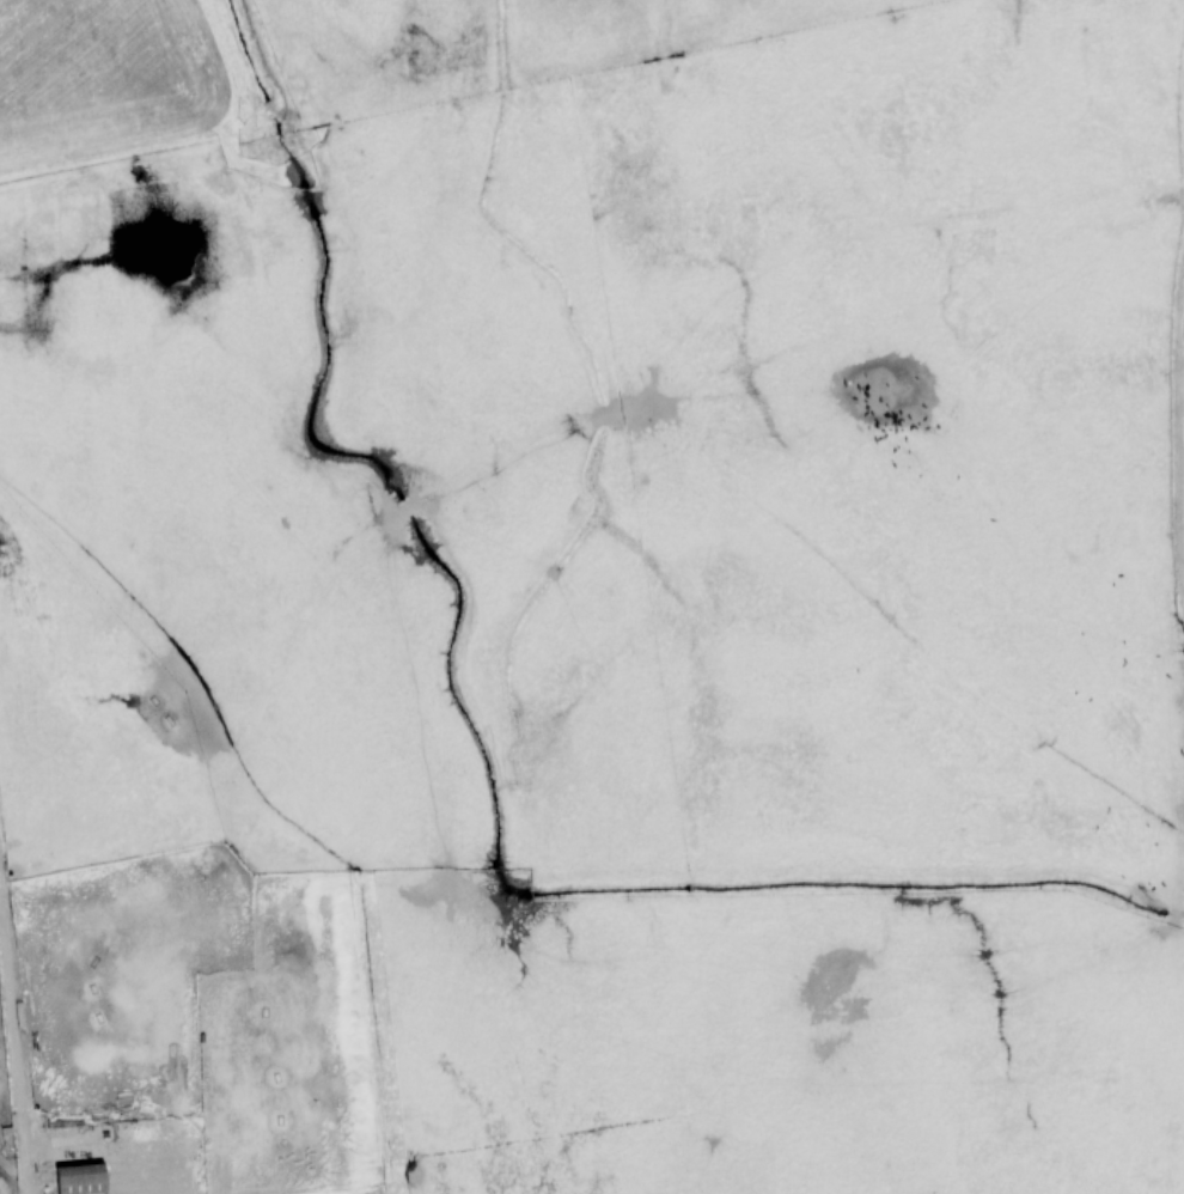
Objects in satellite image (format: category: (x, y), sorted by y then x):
road: (19, 1053)
building: (81, 1178)

